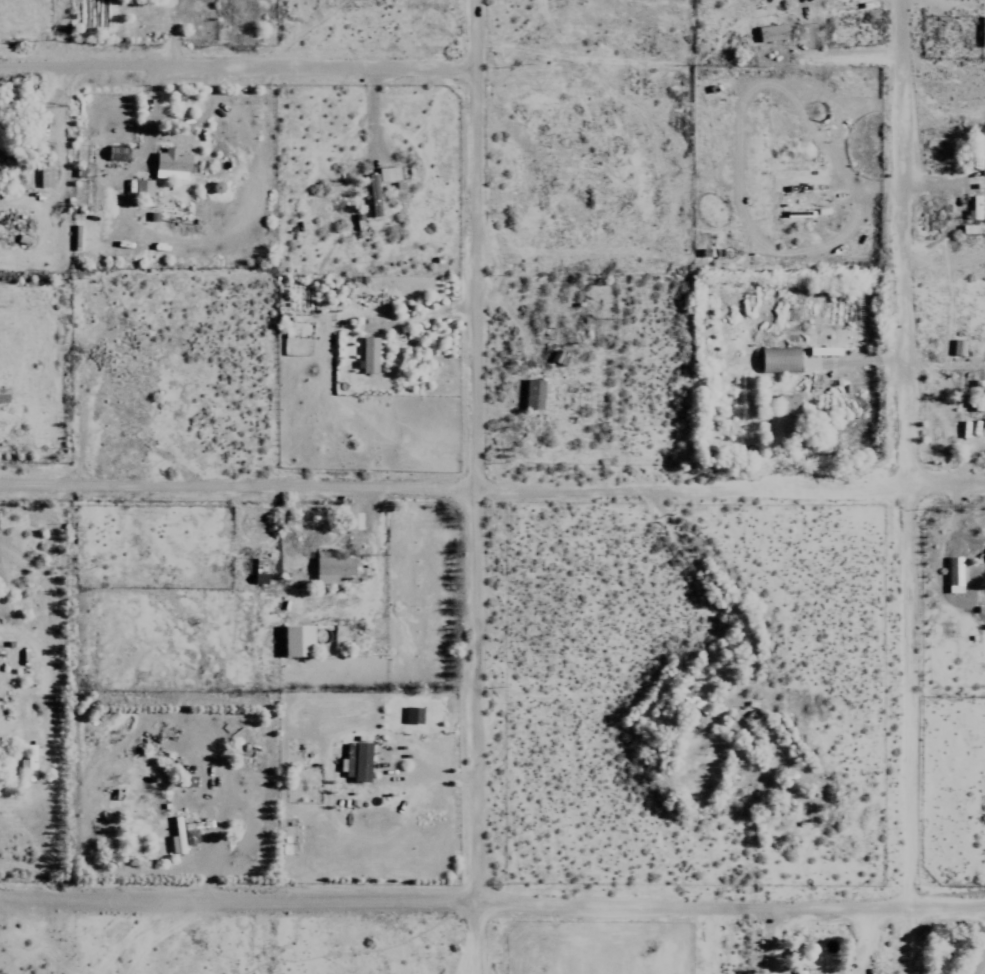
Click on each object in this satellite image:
road: (243, 65)
road: (904, 453)
road: (486, 487)
road: (492, 487)
road: (708, 581)
building: (28, 761)
building: (186, 834)
building: (173, 837)
road: (504, 903)

